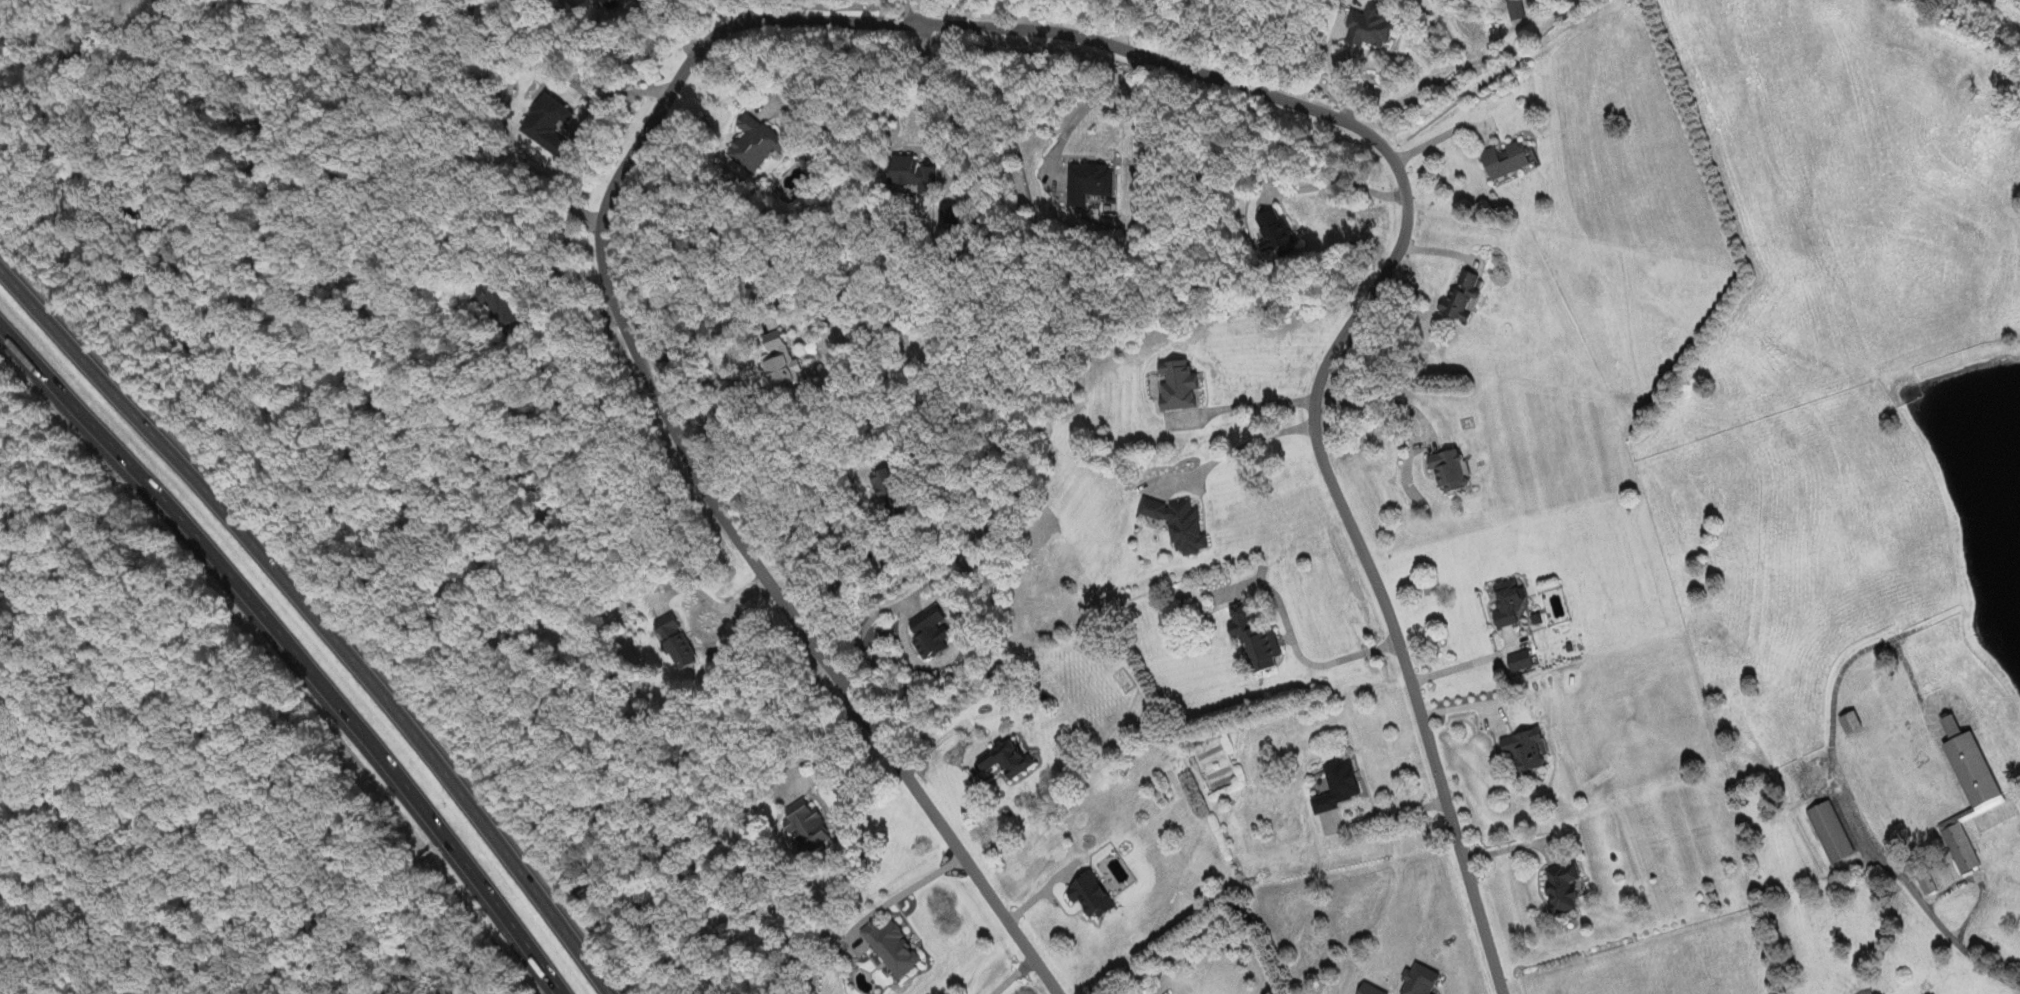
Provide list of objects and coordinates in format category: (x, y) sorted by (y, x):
building: (612, 3)
road: (744, 8)
building: (1520, 9)
road: (917, 11)
road: (1130, 22)
road: (958, 25)
building: (1378, 26)
road: (669, 28)
road: (747, 68)
road: (599, 100)
road: (1095, 102)
road: (951, 103)
building: (548, 123)
building: (754, 142)
building: (1508, 159)
building: (918, 175)
building: (1091, 181)
road: (1351, 184)
building: (949, 217)
building: (1278, 231)
building: (1464, 293)
building: (507, 303)
road: (534, 324)
road: (711, 335)
building: (781, 343)
building: (784, 371)
building: (1181, 385)
road: (1384, 400)
road: (1264, 403)
road: (1236, 448)
building: (1451, 471)
building: (894, 492)
building: (1183, 522)
road: (839, 583)
road: (749, 594)
building: (1514, 606)
road: (316, 620)
road: (863, 625)
road: (708, 636)
road: (1295, 636)
building: (933, 637)
building: (680, 640)
building: (1260, 640)
road: (291, 651)
building: (1522, 662)
road: (1462, 668)
building: (1853, 724)
road: (944, 736)
building: (1531, 751)
building: (1010, 758)
road: (818, 760)
building: (1343, 786)
building: (1964, 790)
road: (1385, 816)
building: (808, 825)
road: (1865, 827)
building: (1828, 831)
road: (1510, 847)
building: (1924, 883)
road: (911, 886)
building: (1570, 887)
building: (1094, 895)
building: (895, 946)
building: (1424, 981)
building: (1373, 990)

